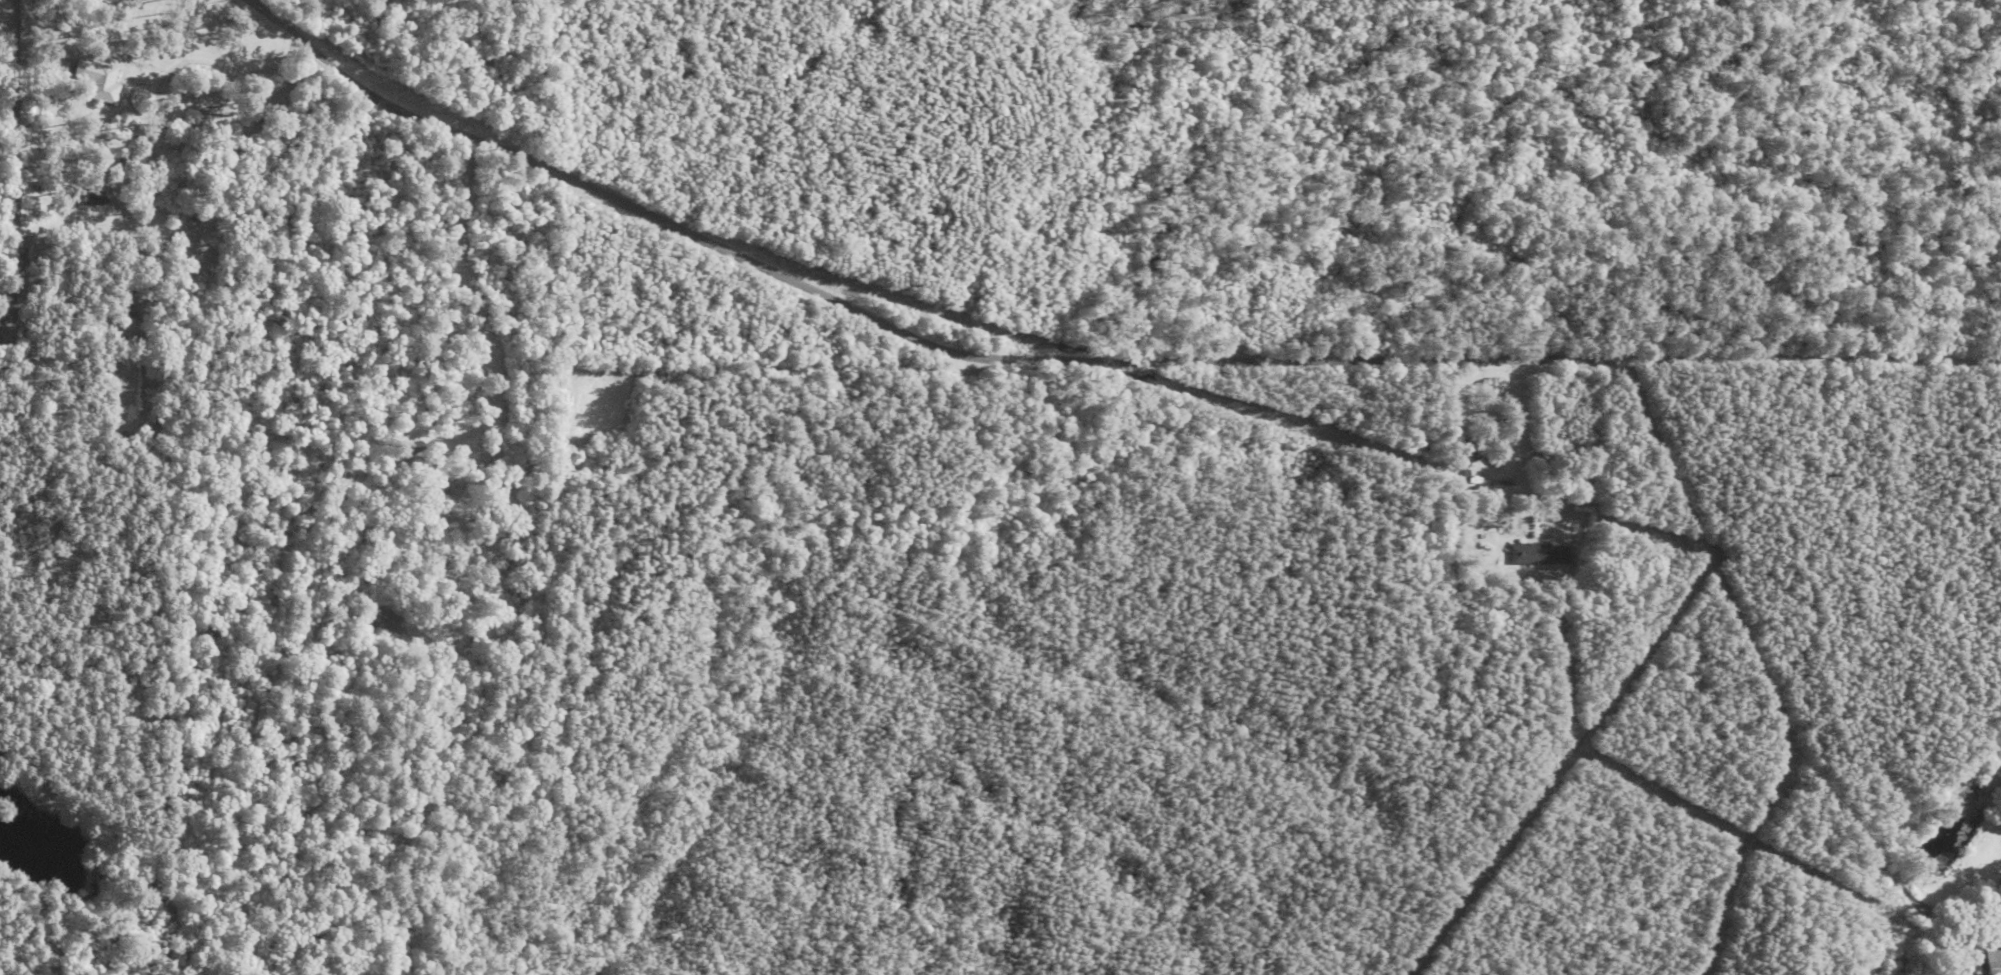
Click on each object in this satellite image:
road: (1232, 355)
road: (1795, 355)

